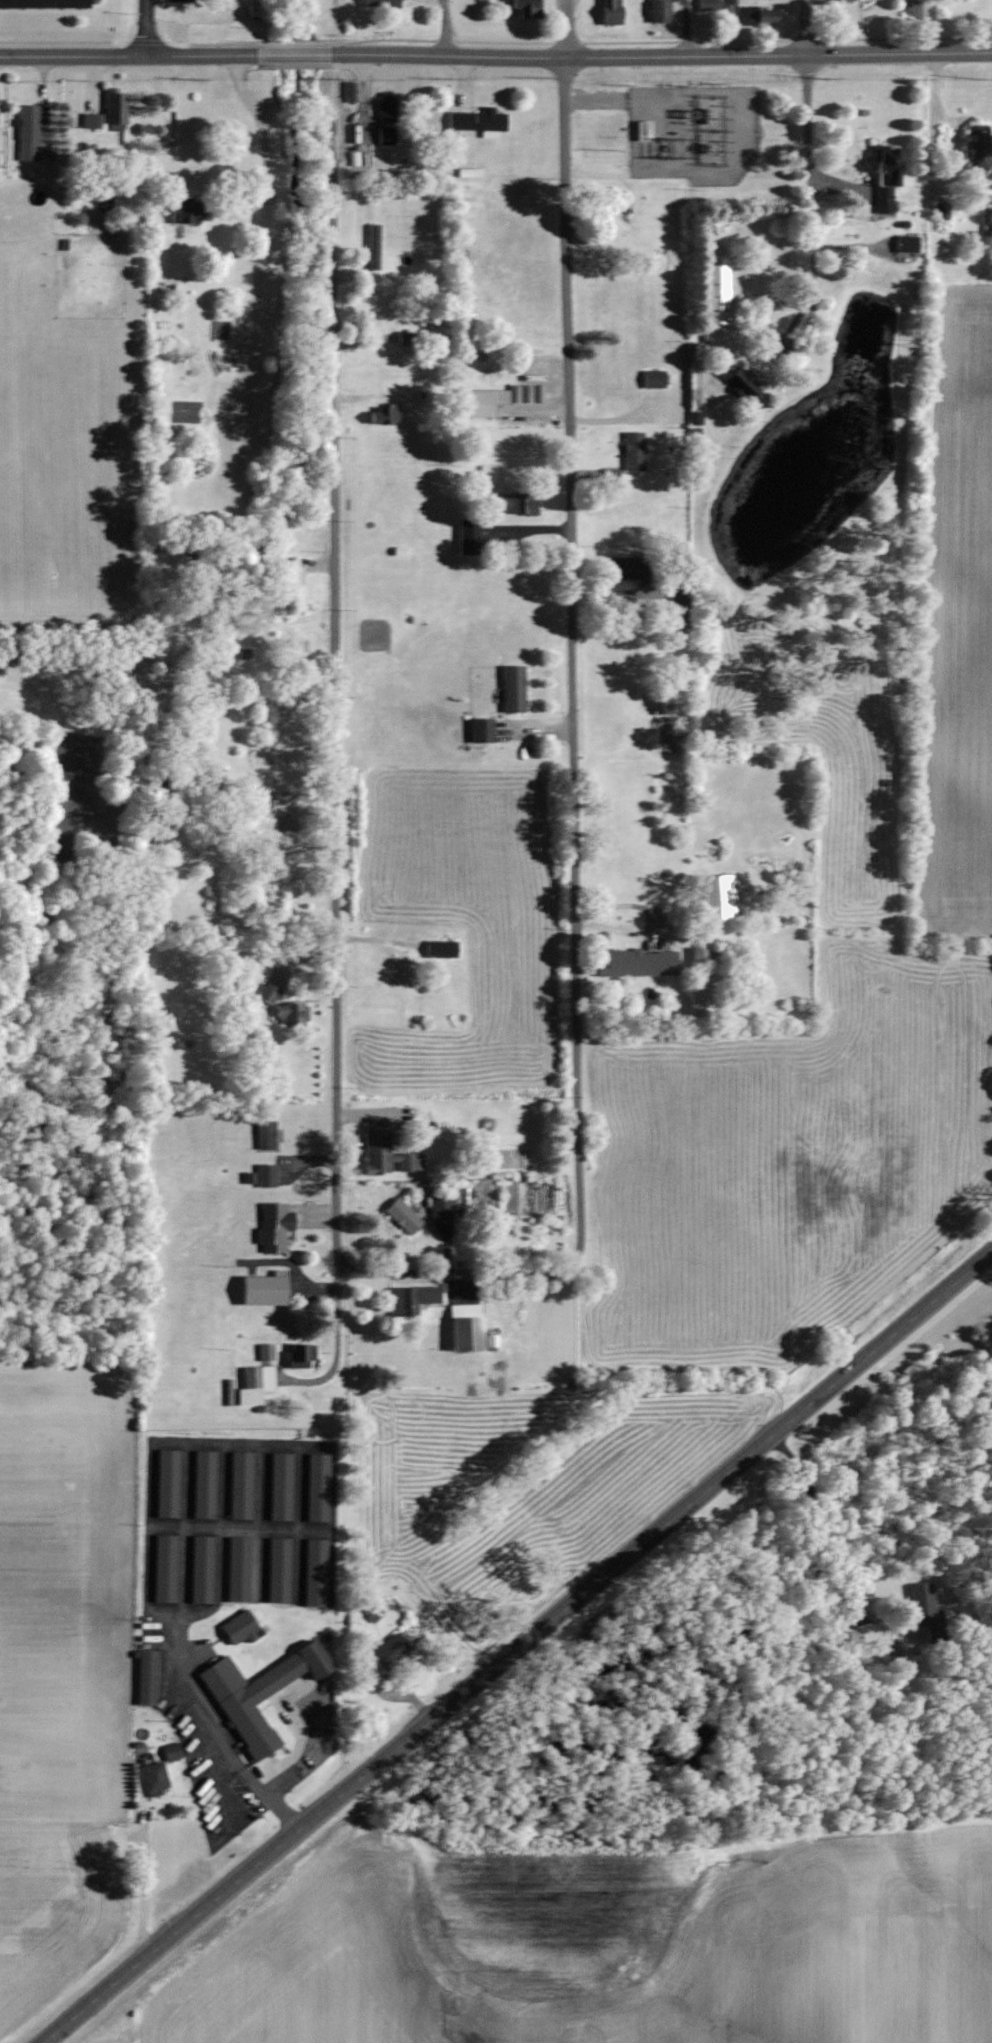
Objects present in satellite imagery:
building: (378, 3)
building: (41, 4)
building: (706, 5)
building: (524, 9)
building: (658, 11)
building: (609, 12)
building: (756, 16)
road: (925, 26)
road: (145, 27)
road: (442, 27)
road: (683, 27)
road: (805, 27)
road: (565, 28)
road: (293, 54)
road: (127, 55)
road: (661, 55)
road: (617, 98)
road: (804, 101)
building: (385, 107)
building: (113, 109)
building: (89, 121)
building: (475, 121)
building: (641, 130)
building: (28, 131)
power substation: (693, 131)
building: (385, 134)
road: (261, 135)
building: (975, 148)
road: (931, 171)
building: (883, 178)
building: (182, 210)
building: (905, 243)
building: (372, 247)
building: (716, 288)
building: (406, 338)
building: (652, 378)
building: (742, 387)
building: (478, 401)
building: (384, 413)
building: (632, 451)
building: (487, 473)
building: (512, 503)
building: (467, 535)
building: (627, 568)
building: (290, 576)
building: (680, 600)
road: (570, 657)
building: (511, 687)
building: (661, 706)
building: (480, 729)
road: (335, 743)
building: (230, 834)
building: (715, 897)
building: (439, 948)
building: (704, 955)
building: (636, 963)
building: (699, 998)
building: (289, 1012)
building: (264, 1134)
building: (387, 1162)
building: (265, 1175)
building: (439, 1205)
building: (401, 1216)
building: (272, 1227)
road: (460, 1272)
building: (410, 1299)
building: (463, 1328)
building: (264, 1352)
building: (297, 1356)
building: (253, 1384)
road: (153, 1446)
building: (165, 1484)
building: (202, 1484)
building: (238, 1485)
building: (279, 1486)
building: (315, 1487)
road: (803, 1540)
building: (162, 1568)
building: (199, 1569)
building: (276, 1570)
building: (313, 1572)
building: (921, 1609)
building: (239, 1627)
road: (519, 1647)
building: (389, 1651)
building: (887, 1651)
building: (144, 1677)
building: (234, 1701)
building: (170, 1751)
building: (153, 1779)

